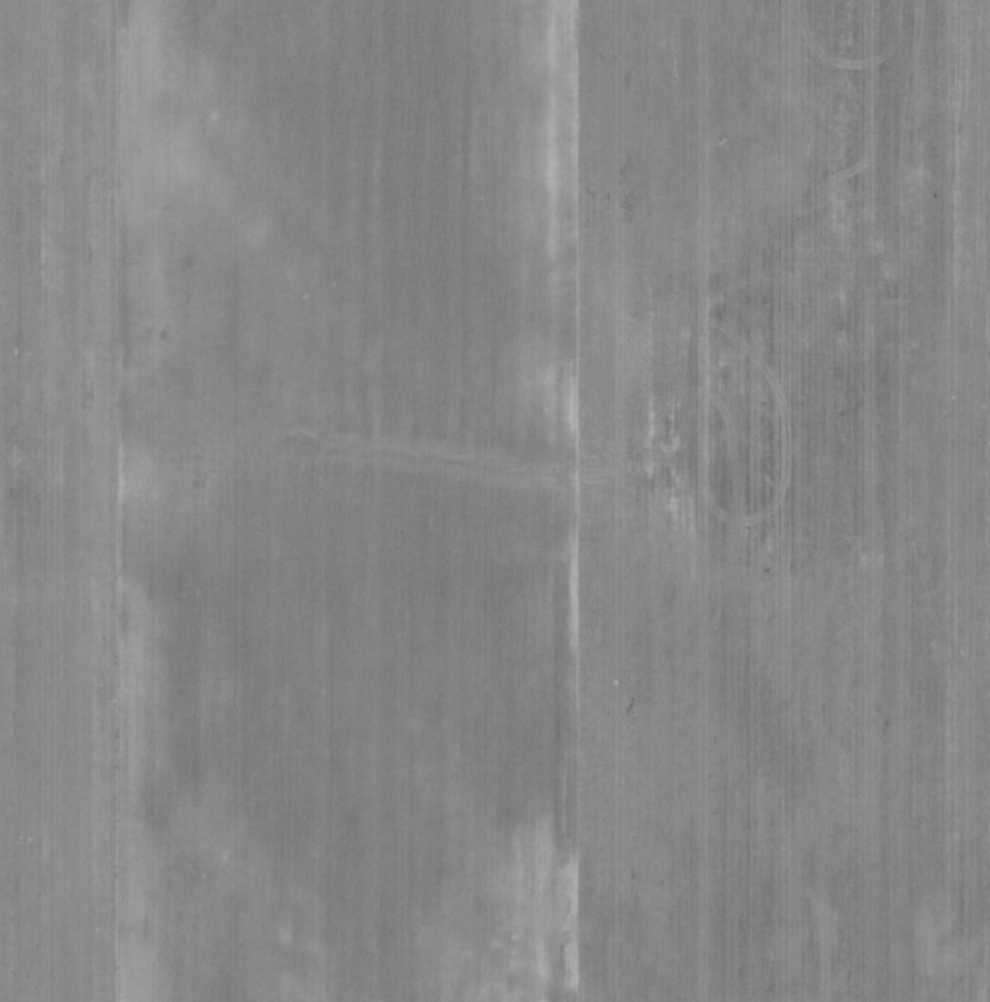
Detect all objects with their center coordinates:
crop: (495, 501)

